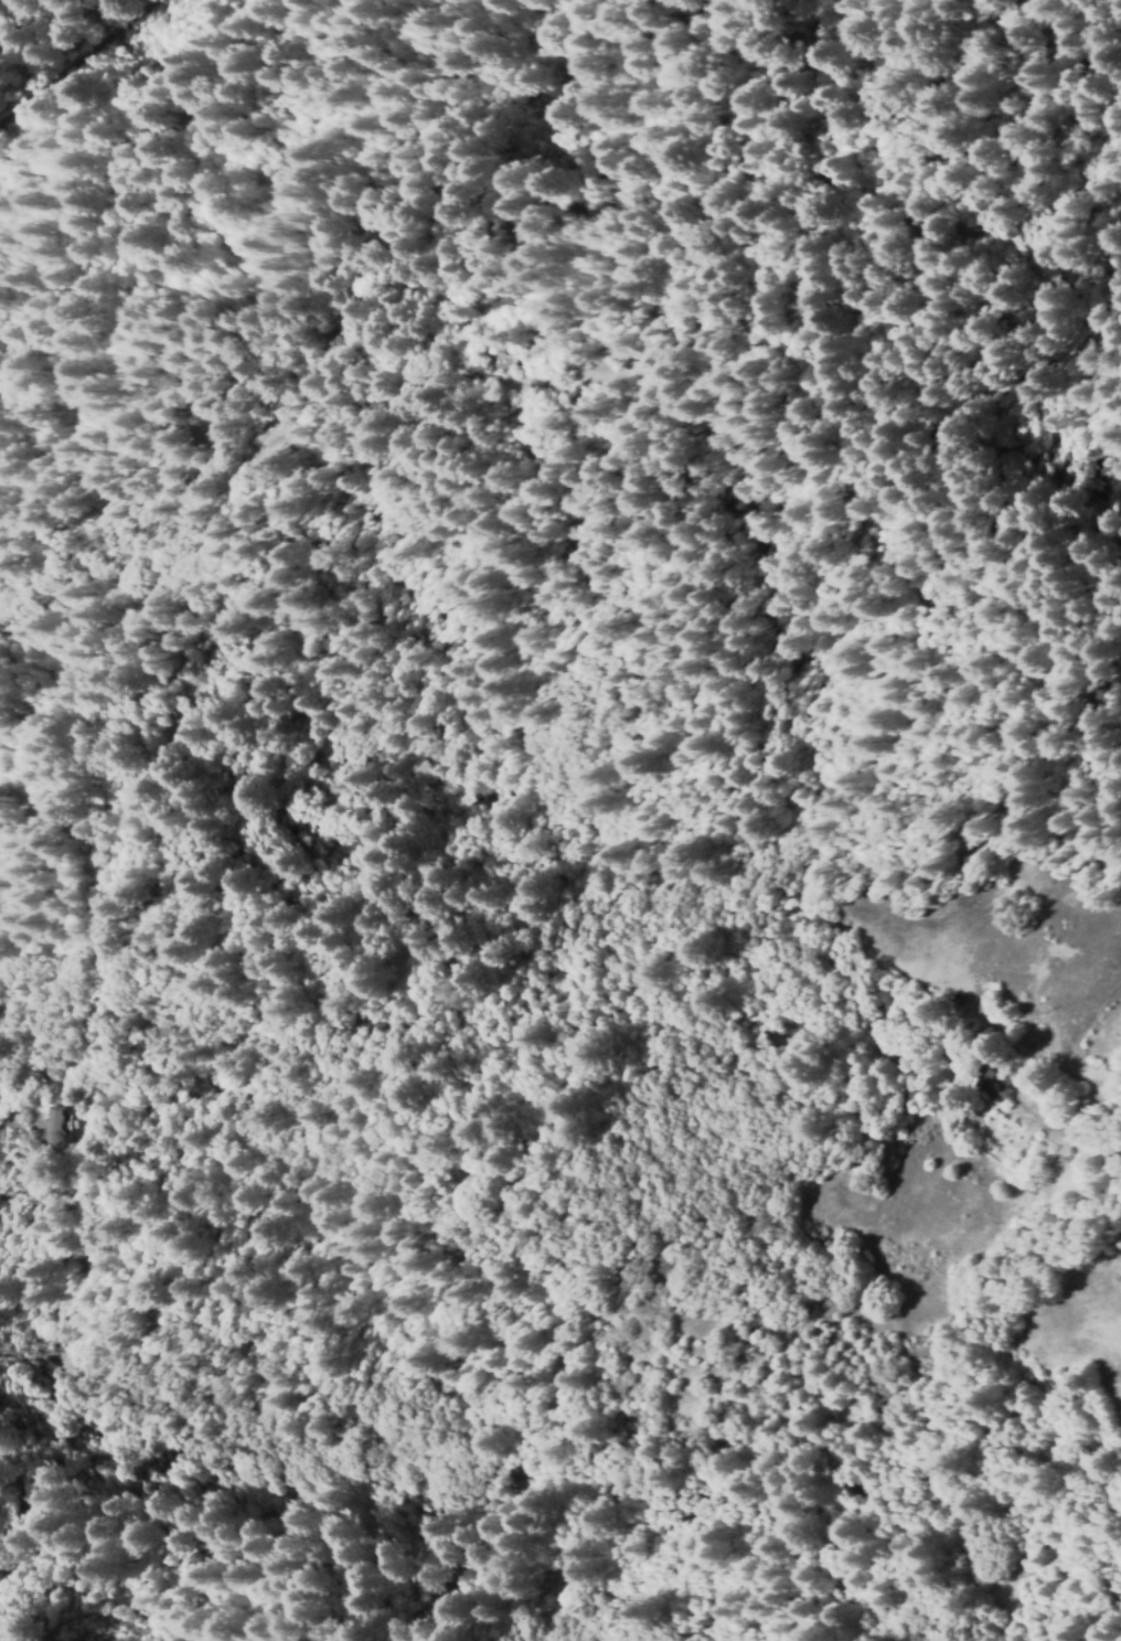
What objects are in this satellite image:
building: (952, 1005)
building: (992, 1091)
building: (52, 1132)
building: (1086, 1152)

